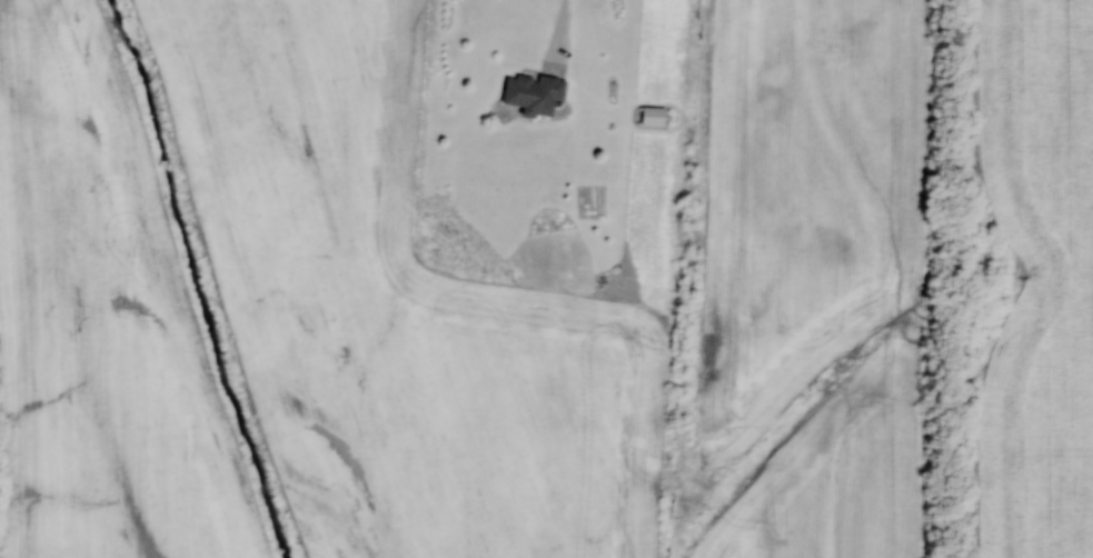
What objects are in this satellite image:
building: (534, 93)
building: (649, 117)

